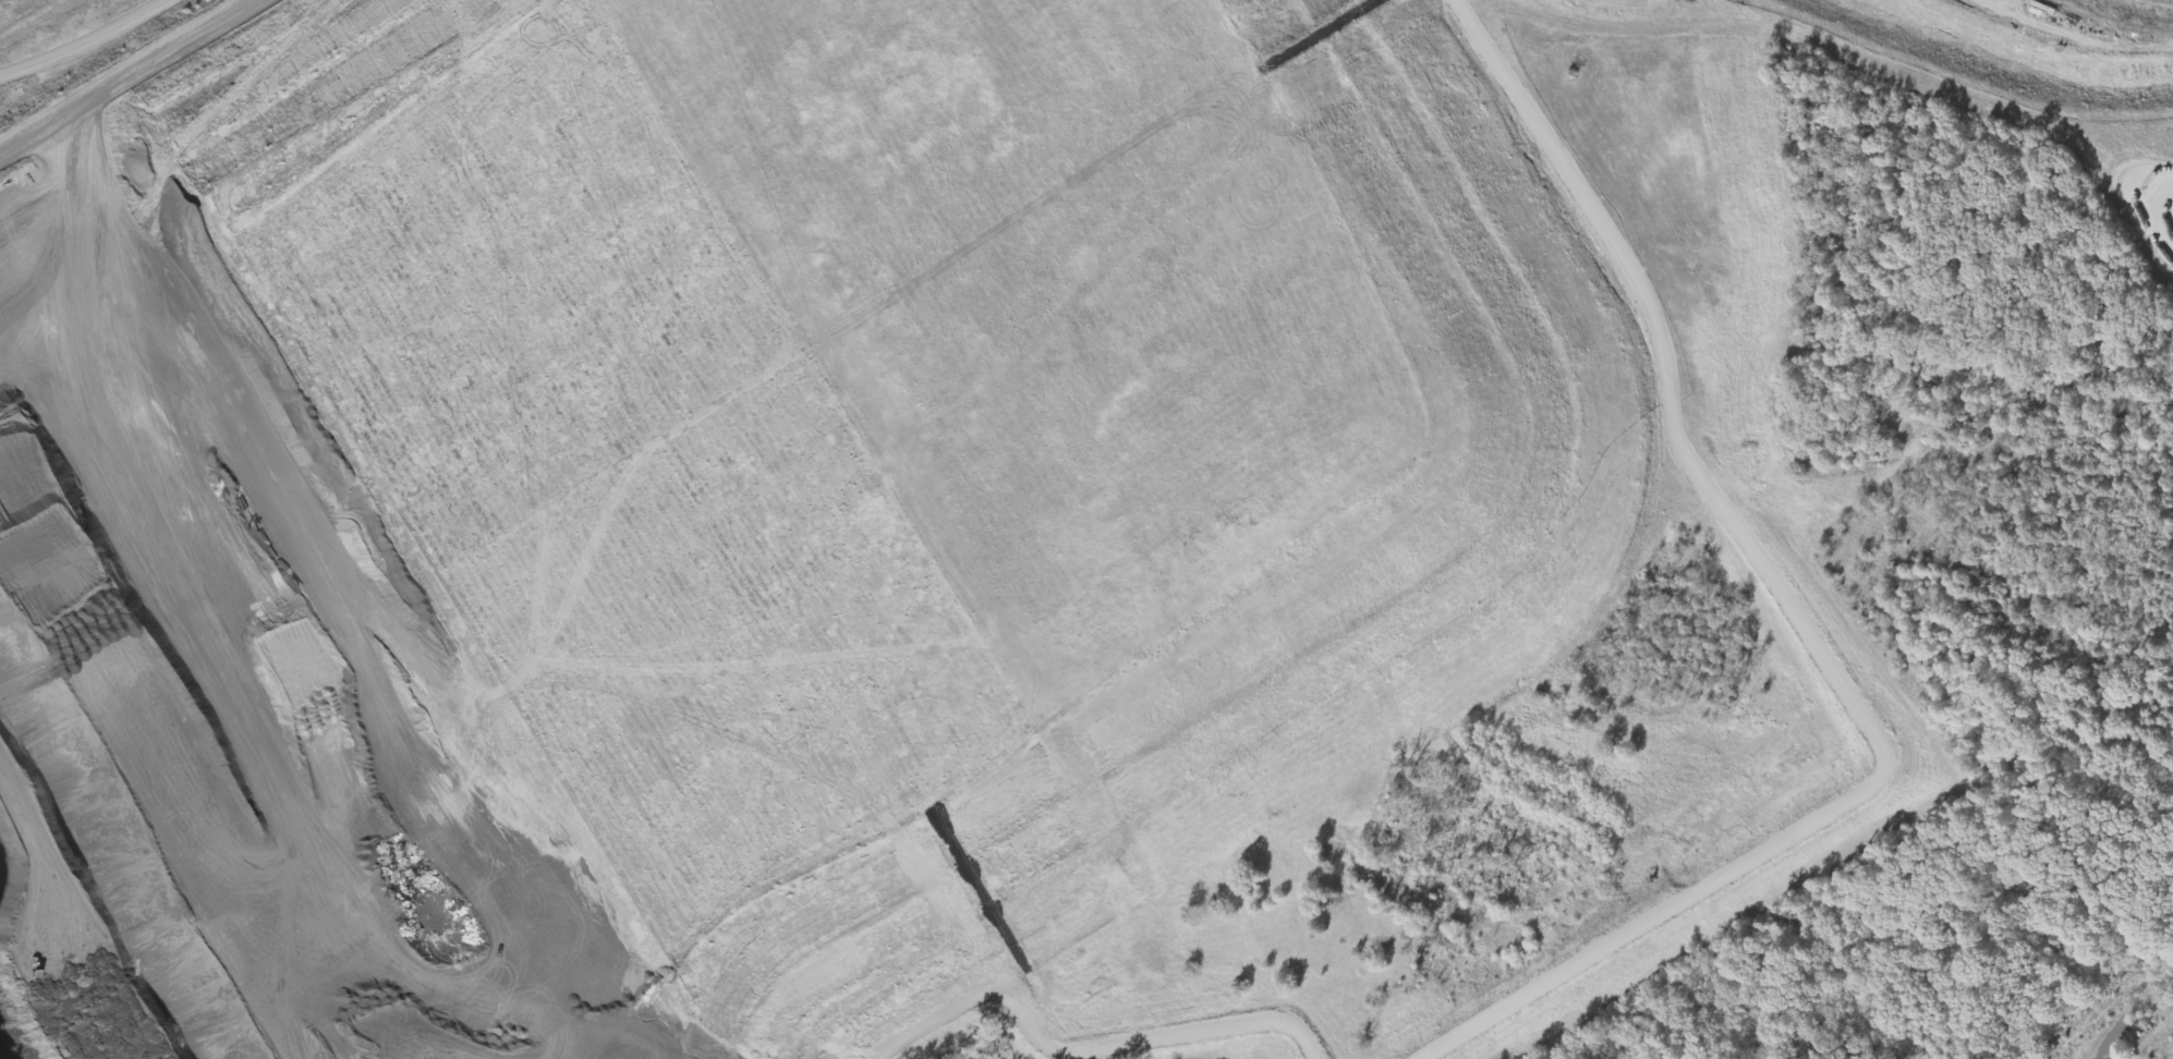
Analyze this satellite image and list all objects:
power plant: (1060, 518)

